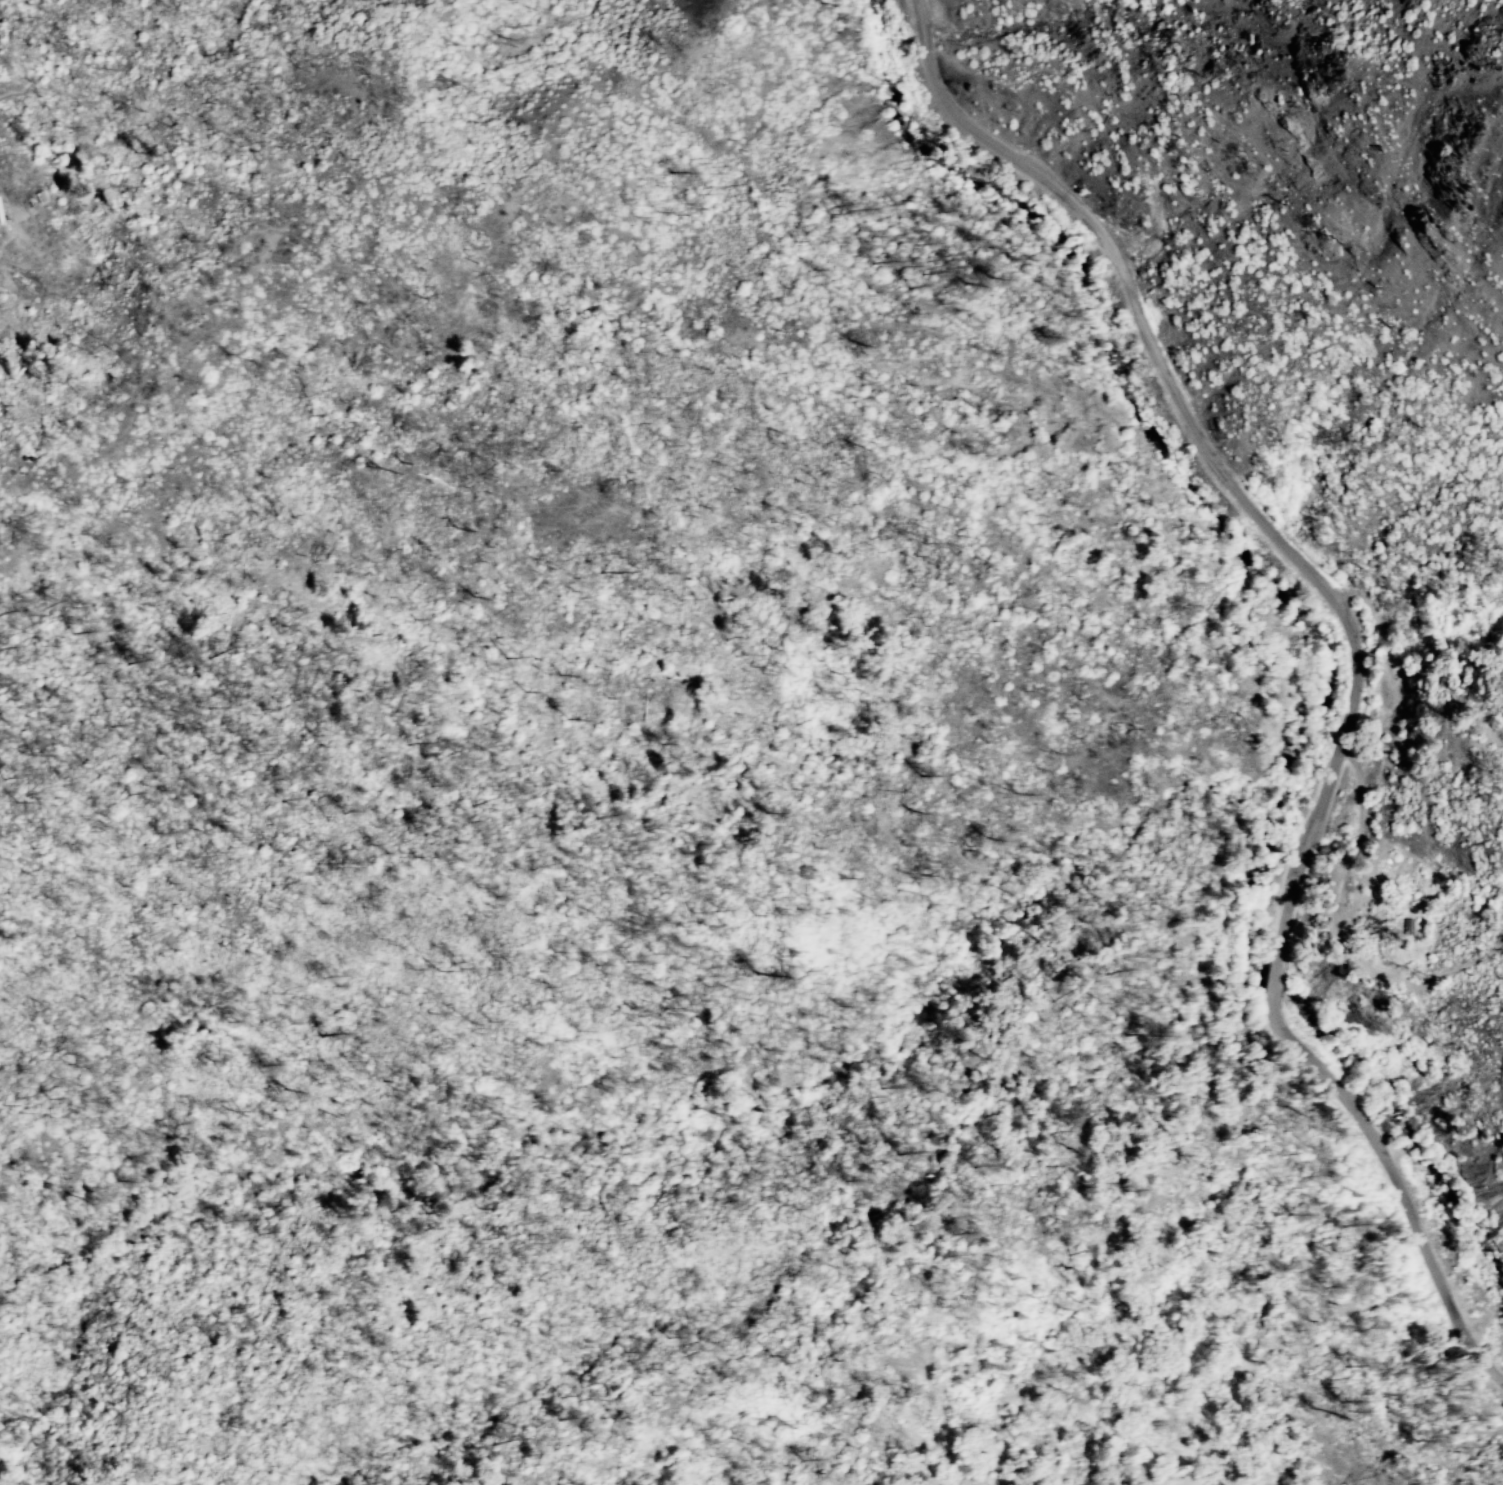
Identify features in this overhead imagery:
road: (1210, 447)
road: (1362, 881)
road: (1278, 973)
road: (1399, 1187)

